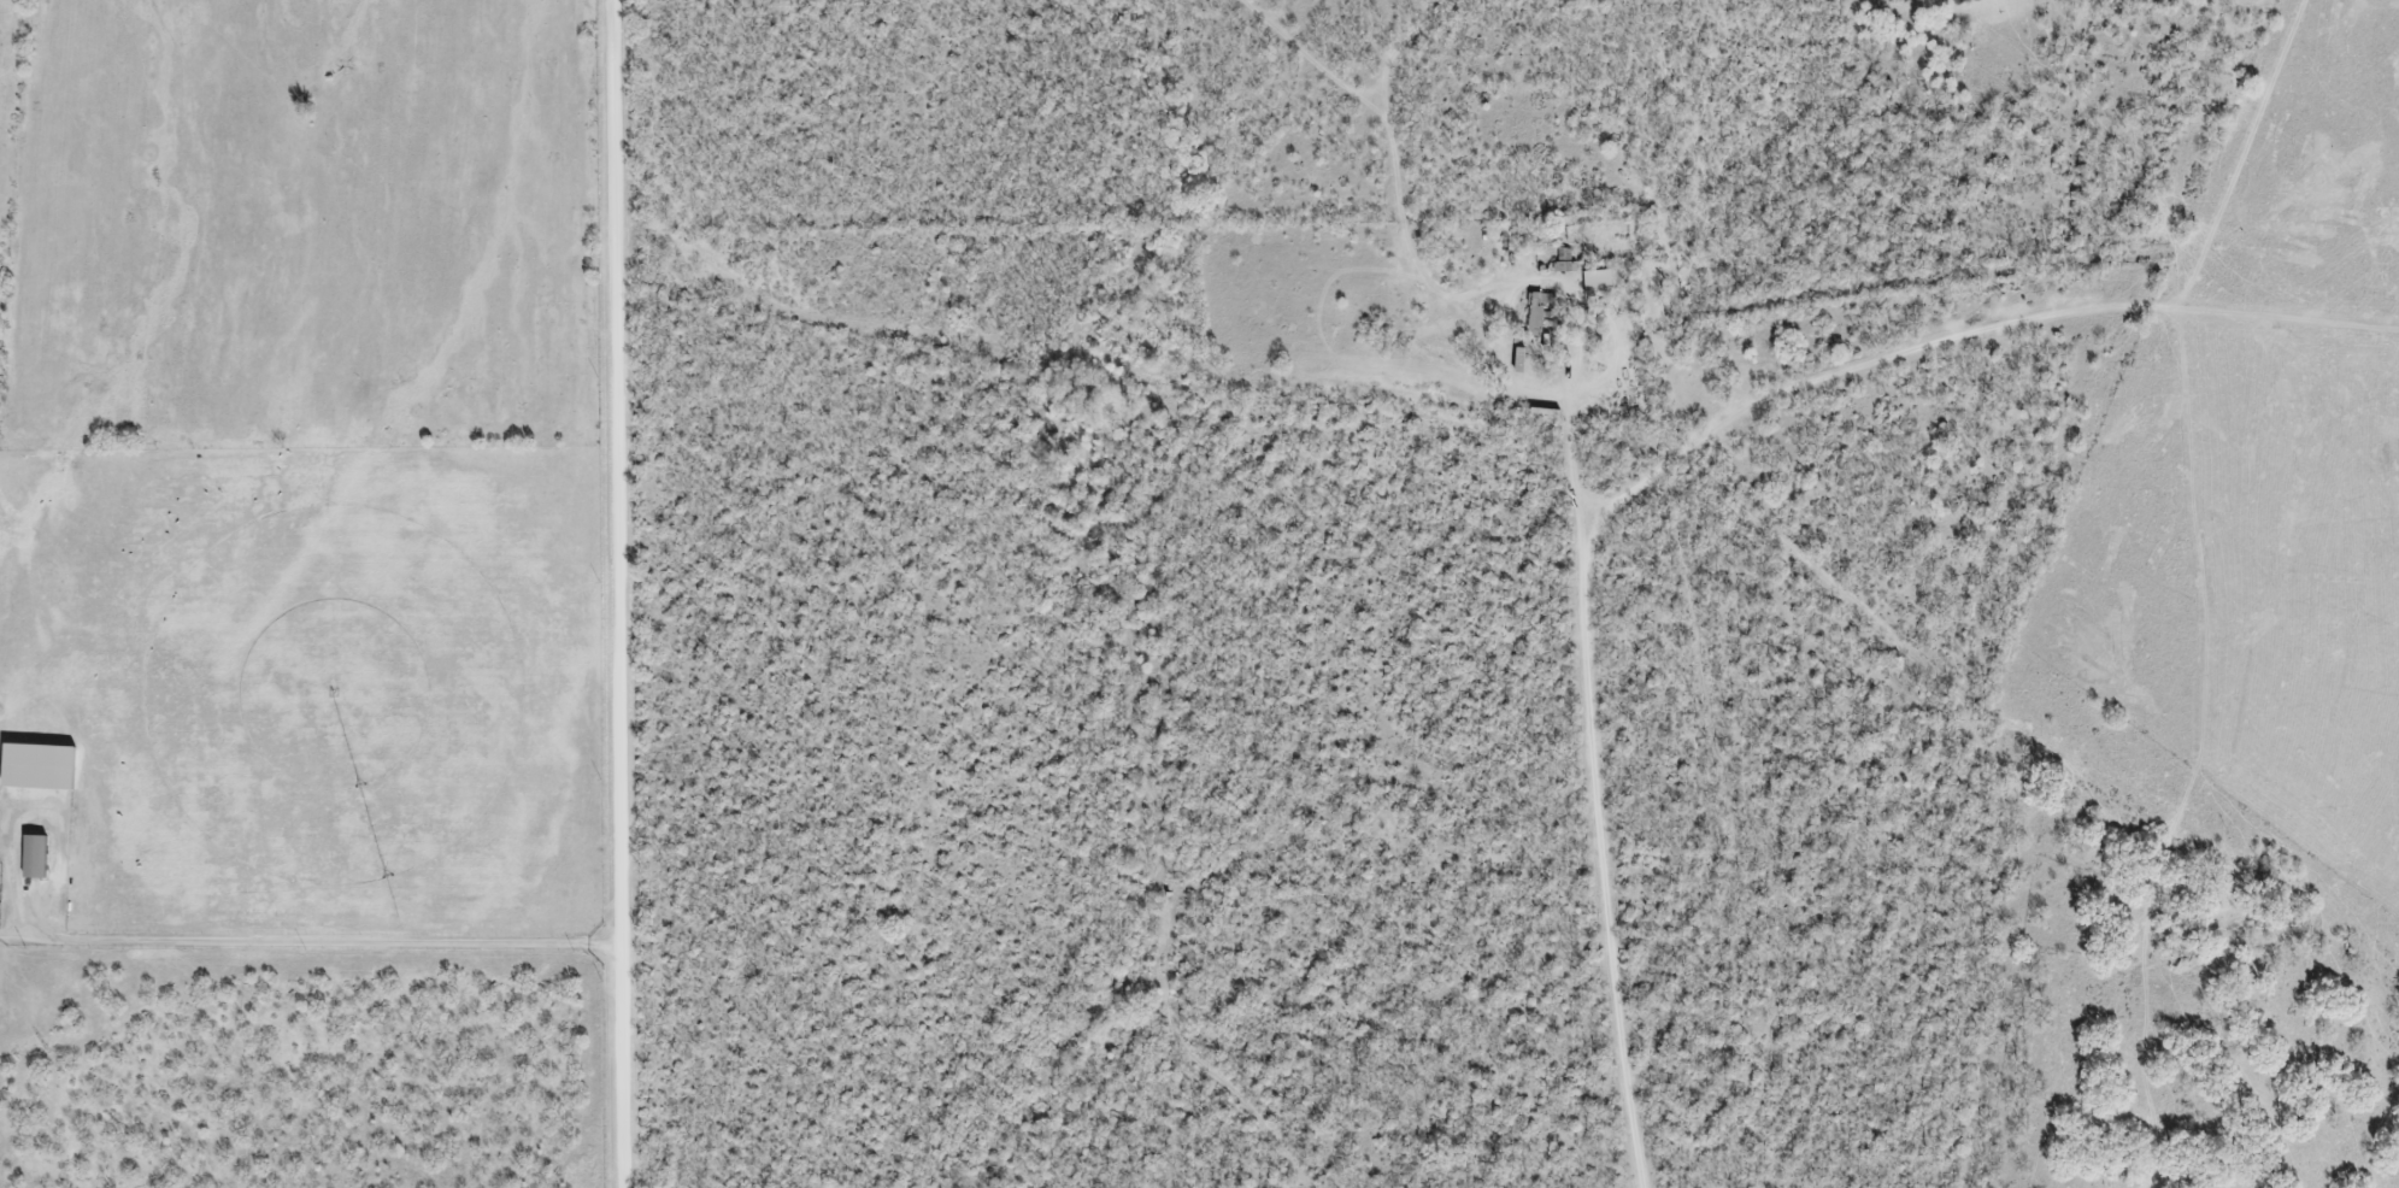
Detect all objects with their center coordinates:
building: (1531, 320)
road: (1131, 365)
road: (1659, 475)
road: (618, 594)
building: (30, 860)
road: (311, 942)

